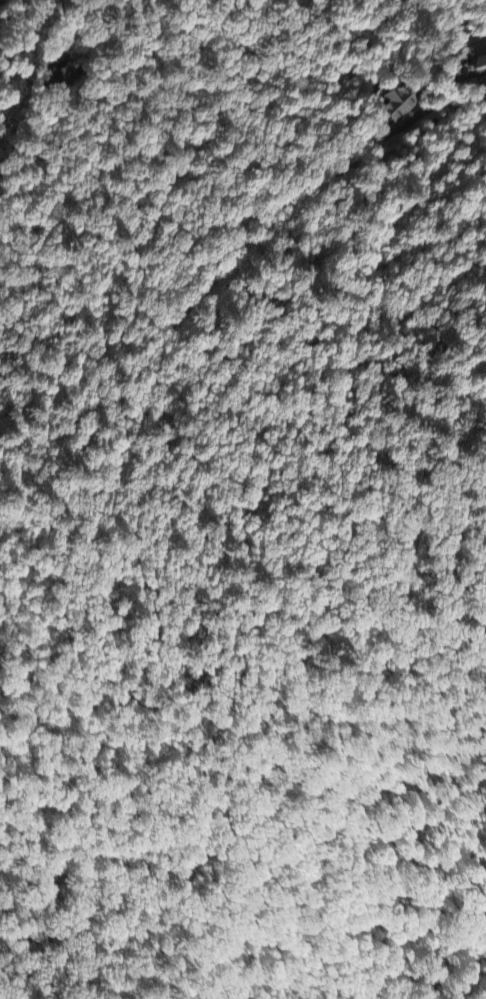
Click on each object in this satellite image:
road: (30, 39)
building: (474, 57)
building: (458, 72)
building: (392, 107)
road: (339, 170)

